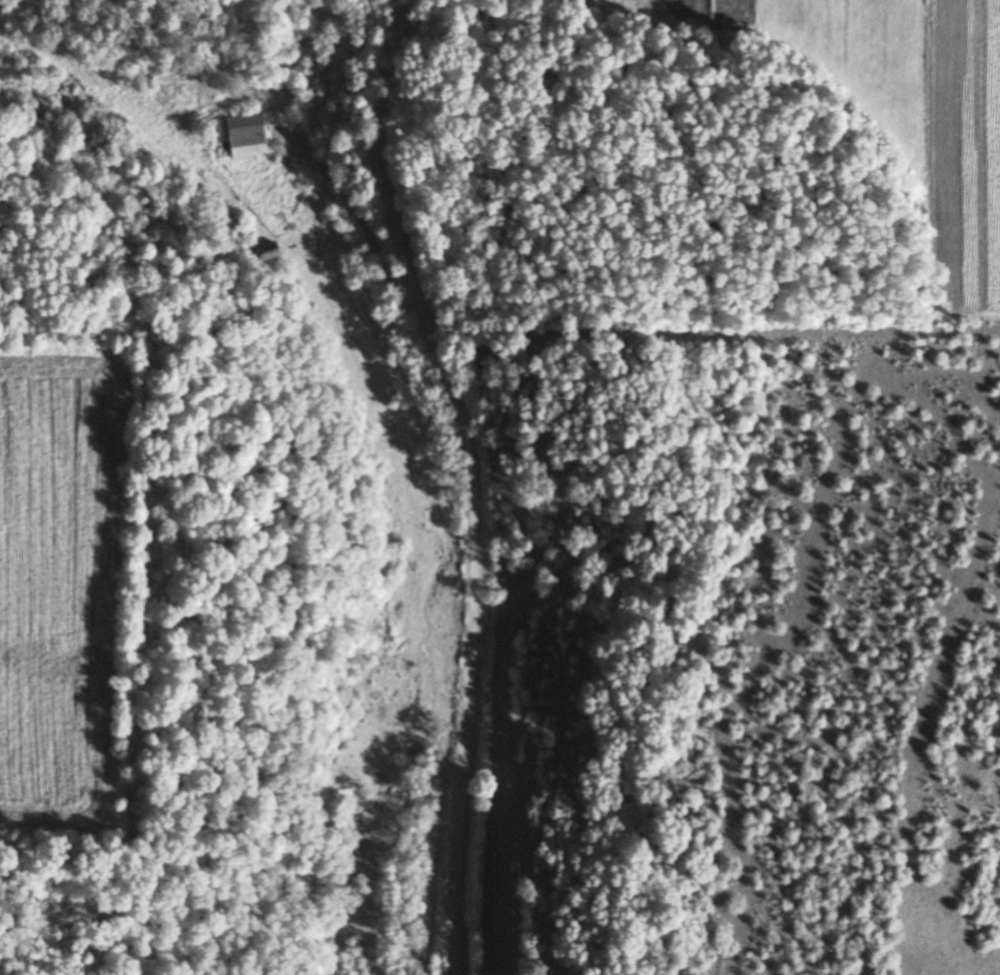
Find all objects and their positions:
crop: (907, 105)
building: (240, 134)
building: (264, 250)
road: (472, 478)
crop: (59, 590)

